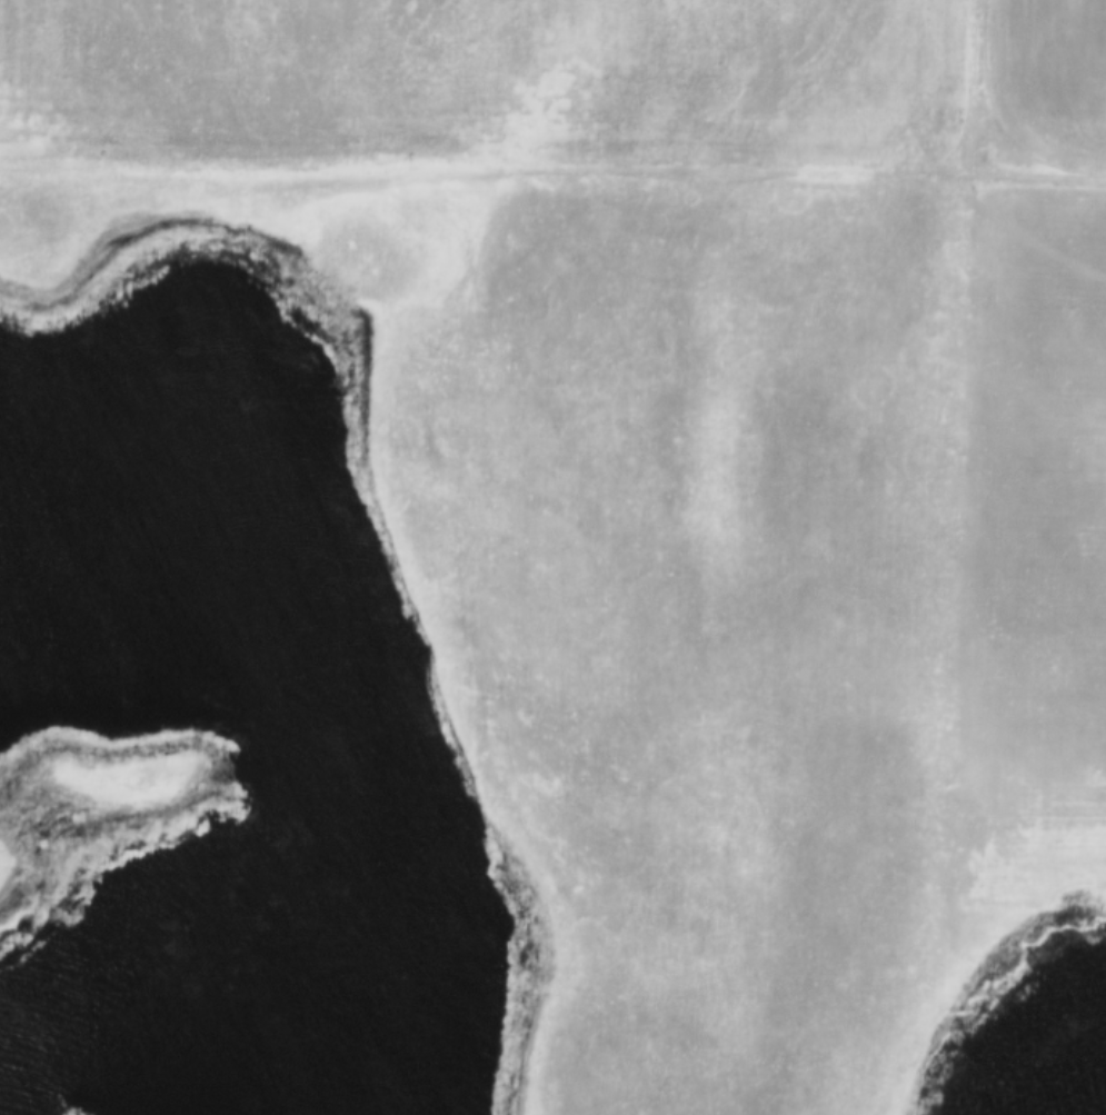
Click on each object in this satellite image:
road: (479, 178)
road: (957, 476)

